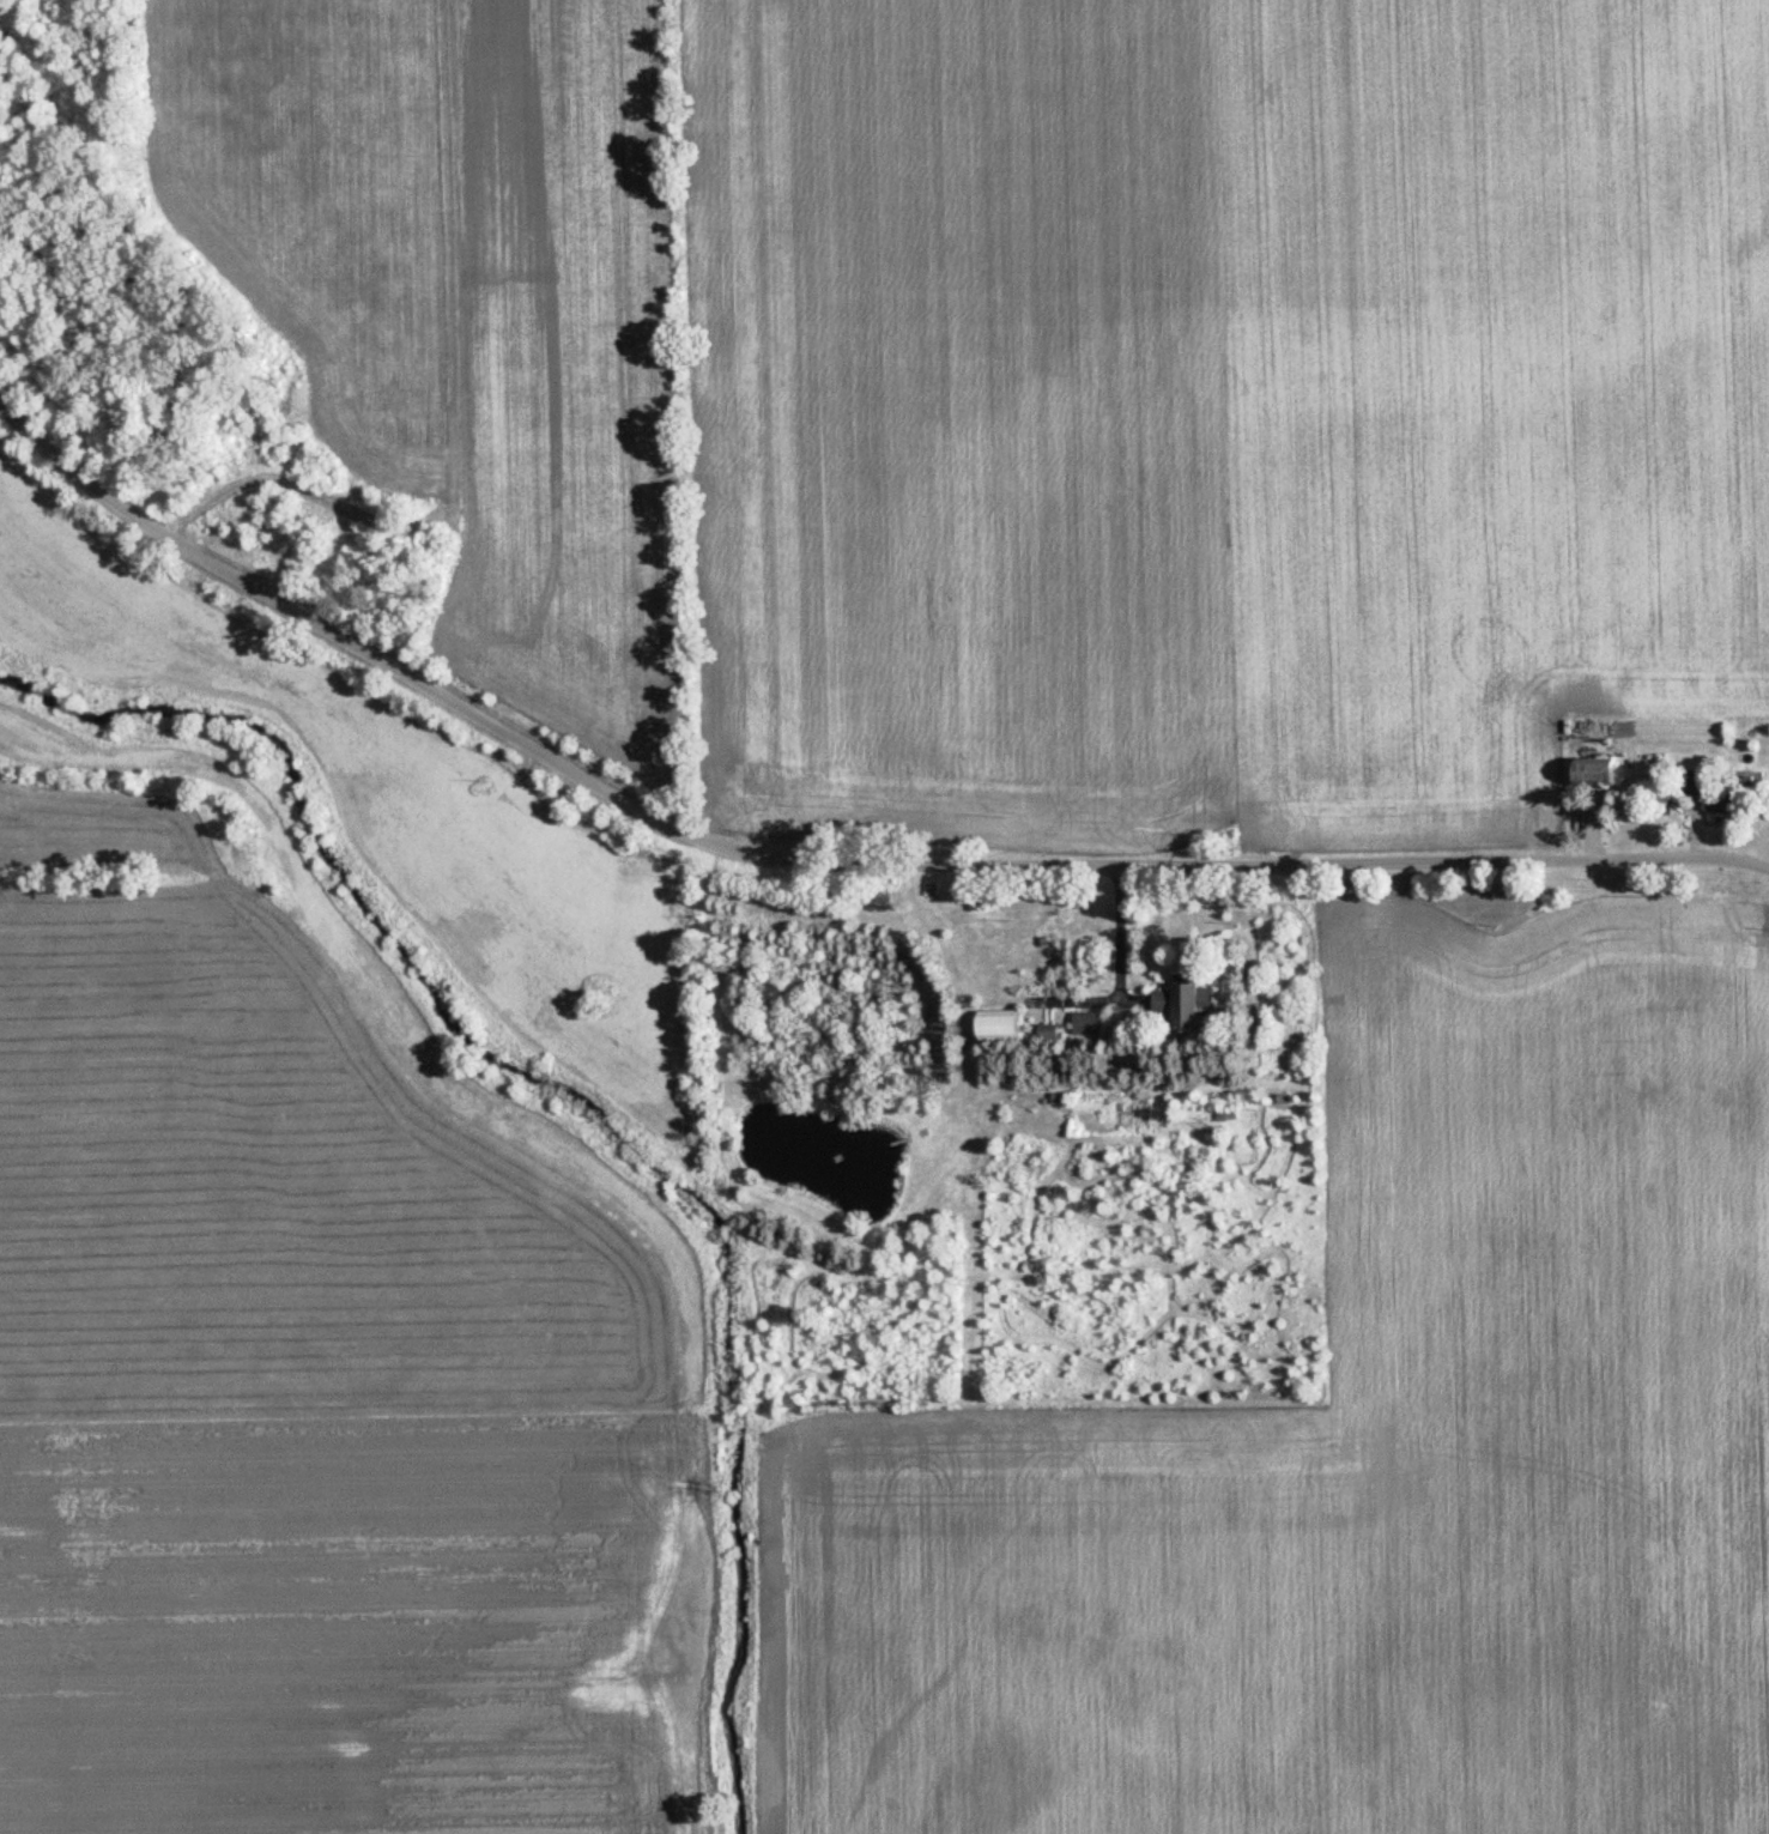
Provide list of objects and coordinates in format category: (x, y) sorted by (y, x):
building: (1710, 803)
road: (816, 857)
road: (1113, 931)
building: (1173, 1005)
building: (992, 1024)

